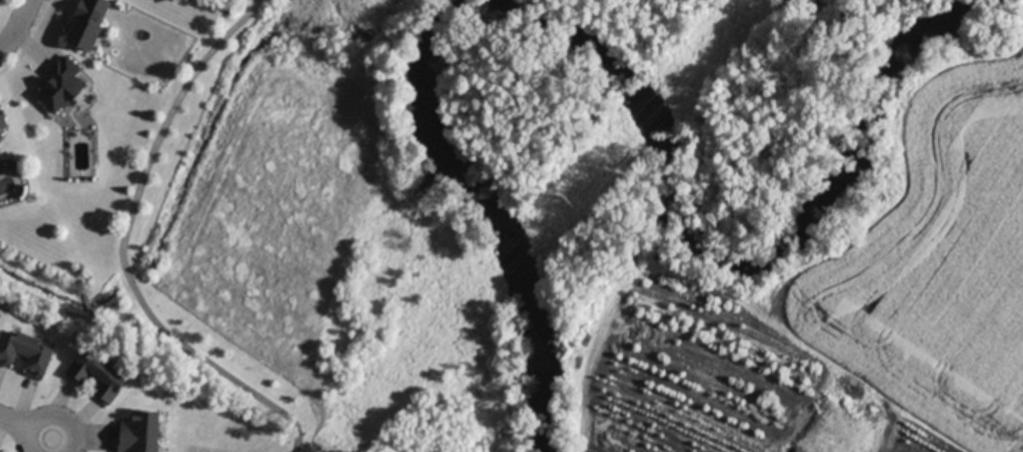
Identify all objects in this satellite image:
building: (86, 23)
road: (18, 27)
river: (603, 52)
building: (62, 87)
park: (756, 94)
building: (3, 124)
power tower: (566, 200)
park: (315, 242)
crop: (931, 244)
road: (122, 246)
building: (25, 354)
building: (97, 378)
road: (26, 428)
building: (140, 433)
road: (63, 446)

